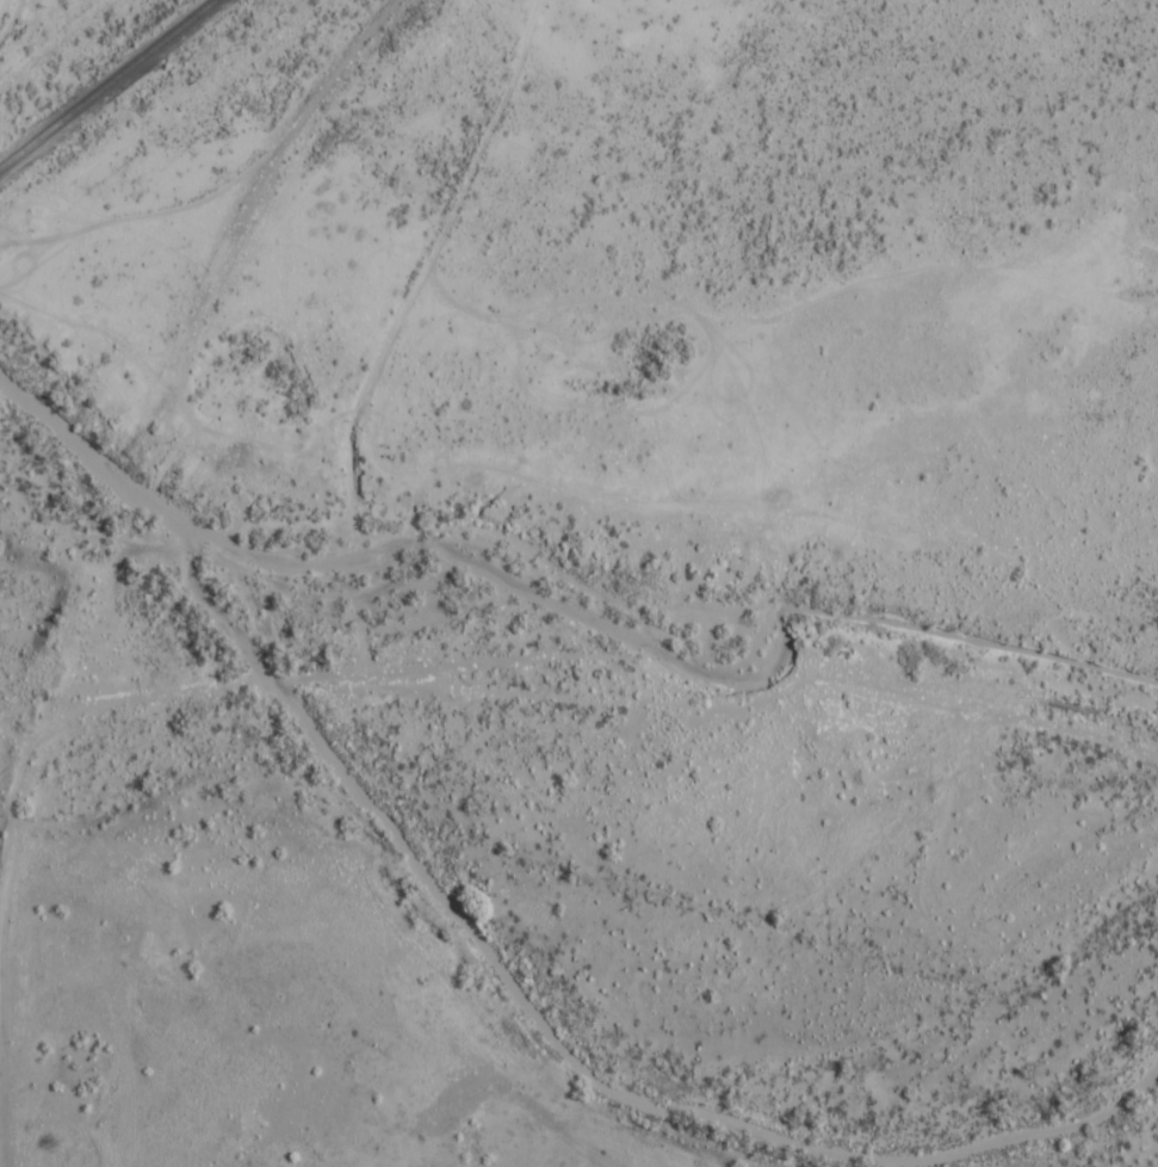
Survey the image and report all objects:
railway: (107, 84)
road: (138, 420)
road: (27, 667)
river: (485, 952)

